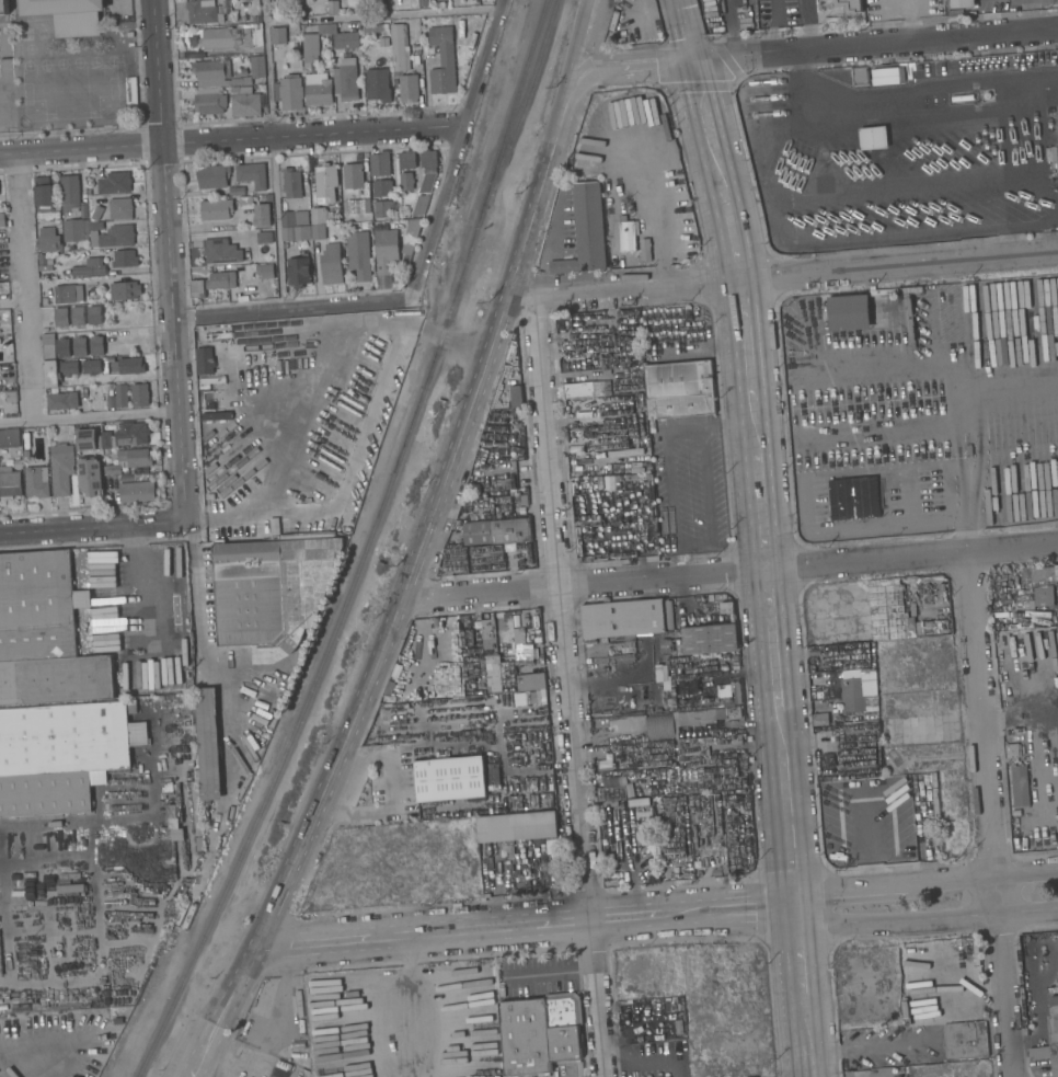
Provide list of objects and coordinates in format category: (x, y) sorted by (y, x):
building: (435, 0)
building: (364, 1)
building: (380, 3)
building: (963, 3)
building: (849, 5)
building: (3, 7)
building: (333, 7)
building: (319, 9)
building: (203, 12)
road: (1028, 14)
building: (68, 15)
road: (405, 15)
road: (807, 24)
building: (375, 27)
road: (683, 31)
building: (278, 35)
road: (578, 35)
building: (229, 38)
building: (344, 38)
road: (927, 38)
building: (380, 42)
building: (313, 43)
building: (398, 46)
road: (744, 56)
building: (442, 60)
traffic signals: (692, 62)
road: (632, 67)
building: (254, 69)
building: (212, 73)
building: (859, 76)
building: (886, 76)
building: (346, 80)
building: (378, 81)
road: (800, 87)
building: (409, 88)
building: (318, 89)
building: (245, 90)
building: (289, 92)
building: (963, 98)
railway: (524, 99)
building: (209, 101)
building: (245, 104)
building: (1057, 122)
road: (133, 127)
building: (873, 137)
road: (232, 139)
road: (457, 149)
road: (272, 156)
building: (407, 159)
building: (379, 164)
building: (427, 169)
building: (252, 174)
building: (353, 175)
building: (211, 176)
building: (406, 181)
building: (114, 183)
building: (291, 183)
building: (325, 183)
building: (381, 187)
building: (237, 191)
building: (69, 193)
building: (43, 194)
building: (244, 202)
building: (419, 205)
building: (358, 206)
building: (120, 208)
building: (382, 208)
road: (646, 208)
building: (216, 209)
building: (97, 213)
building: (262, 215)
building: (319, 215)
building: (295, 218)
building: (2, 219)
parking lot: (566, 222)
building: (96, 225)
building: (74, 230)
building: (585, 230)
building: (318, 231)
building: (296, 232)
building: (117, 236)
building: (410, 236)
building: (626, 236)
building: (264, 238)
building: (48, 240)
road: (548, 245)
building: (386, 247)
building: (645, 250)
building: (220, 251)
building: (358, 254)
building: (42, 259)
building: (124, 259)
road: (168, 259)
building: (331, 265)
building: (90, 267)
building: (246, 270)
building: (265, 271)
building: (299, 271)
road: (781, 278)
building: (221, 279)
road: (23, 286)
building: (197, 288)
building: (125, 289)
building: (68, 294)
road: (291, 310)
building: (849, 312)
building: (78, 316)
building: (94, 316)
building: (909, 316)
building: (60, 318)
building: (561, 323)
road: (115, 332)
road: (455, 343)
building: (96, 345)
building: (80, 346)
building: (62, 347)
building: (49, 348)
building: (205, 360)
building: (636, 360)
road: (925, 364)
building: (128, 366)
building: (11, 367)
building: (91, 367)
building: (0, 368)
building: (69, 368)
building: (363, 369)
building: (51, 375)
building: (587, 389)
building: (680, 390)
building: (122, 396)
building: (140, 396)
building: (516, 397)
building: (62, 401)
road: (301, 414)
road: (88, 415)
building: (614, 421)
building: (652, 426)
road: (709, 426)
building: (126, 435)
building: (10, 438)
building: (87, 439)
building: (26, 447)
road: (977, 448)
road: (957, 449)
building: (631, 455)
building: (130, 460)
building: (18, 465)
building: (61, 468)
road: (843, 472)
building: (91, 477)
road: (762, 482)
building: (10, 483)
building: (36, 483)
building: (137, 491)
road: (906, 494)
road: (967, 496)
building: (853, 499)
road: (919, 520)
road: (91, 528)
building: (497, 531)
road: (693, 542)
railway: (361, 547)
road: (728, 572)
building: (1056, 572)
building: (1025, 575)
road: (404, 583)
building: (1043, 586)
building: (272, 592)
building: (1025, 605)
road: (197, 610)
building: (886, 610)
building: (622, 619)
building: (45, 634)
building: (488, 638)
building: (710, 639)
building: (452, 645)
building: (676, 649)
building: (492, 666)
building: (424, 680)
building: (531, 681)
building: (666, 683)
road: (570, 687)
building: (852, 694)
building: (718, 701)
building: (619, 711)
road: (1023, 713)
building: (706, 715)
building: (820, 720)
building: (601, 723)
building: (628, 724)
building: (660, 726)
building: (736, 738)
building: (64, 740)
building: (209, 743)
building: (1012, 751)
building: (692, 753)
building: (827, 760)
road: (1055, 760)
building: (605, 766)
building: (450, 779)
building: (915, 780)
building: (934, 782)
building: (1020, 786)
road: (993, 815)
building: (517, 827)
building: (936, 837)
building: (716, 871)
road: (925, 875)
building: (53, 878)
building: (71, 889)
road: (773, 897)
road: (928, 908)
road: (775, 914)
road: (504, 926)
road: (283, 959)
road: (804, 993)
road: (271, 1010)
building: (678, 1023)
building: (679, 1030)
building: (541, 1032)
building: (965, 1040)
building: (1049, 1040)
road: (648, 1058)
road: (252, 1062)

